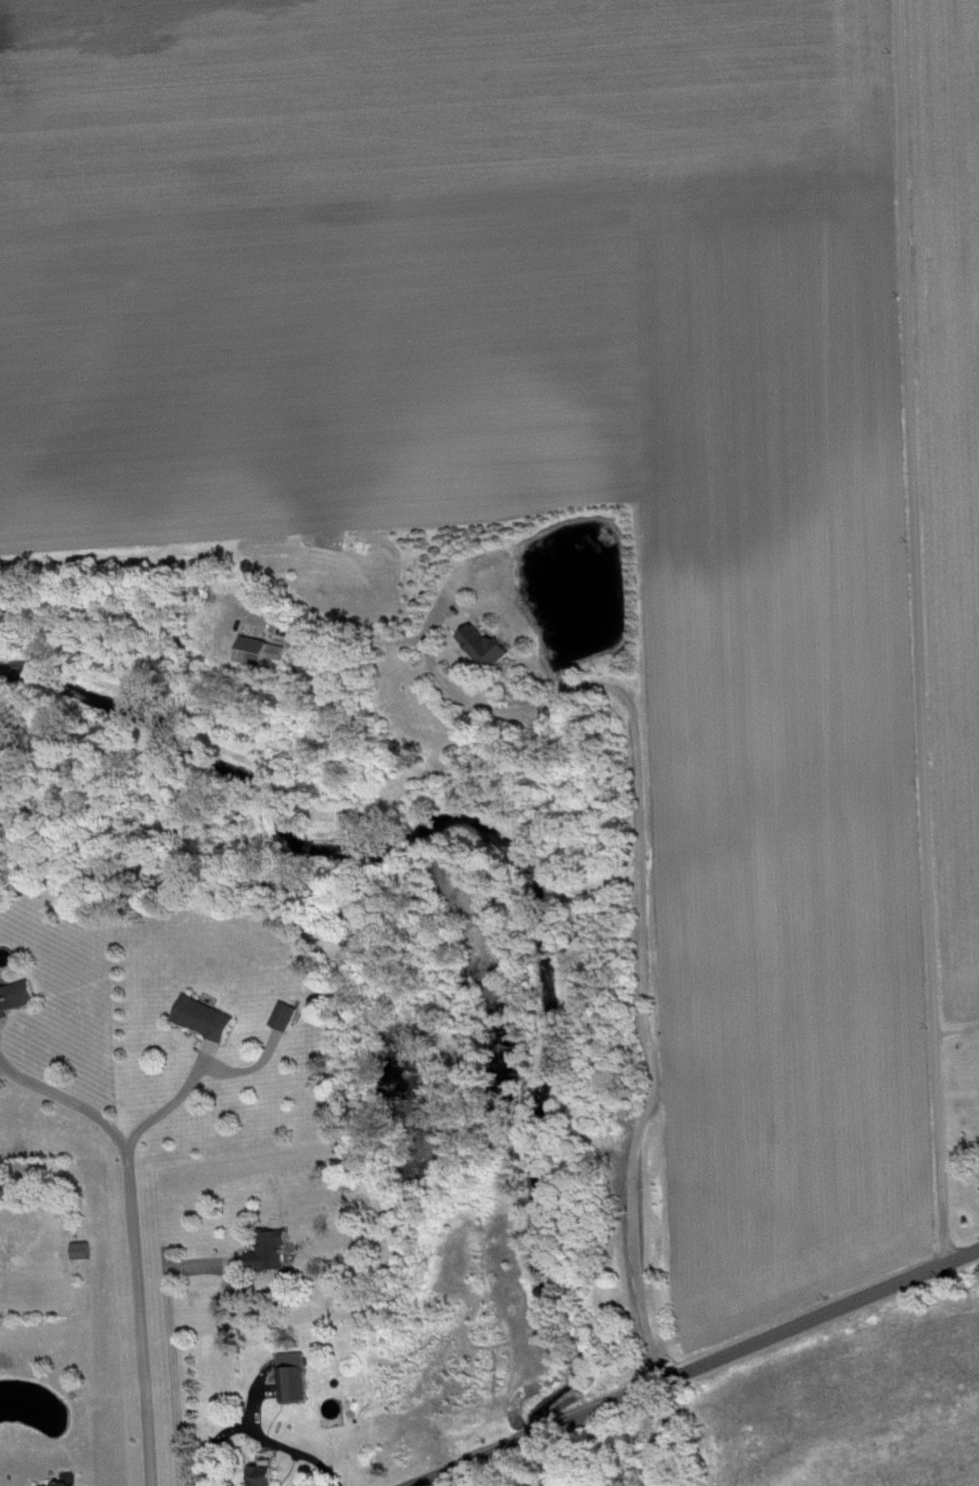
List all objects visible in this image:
road: (924, 629)
building: (491, 654)
building: (264, 658)
road: (641, 907)
building: (18, 1004)
building: (290, 1024)
building: (209, 1026)
road: (958, 1029)
road: (71, 1108)
road: (175, 1114)
building: (274, 1258)
road: (141, 1323)
road: (763, 1336)
road: (177, 1353)
building: (298, 1384)
road: (258, 1433)
road: (538, 1433)
road: (468, 1462)
building: (268, 1478)
building: (58, 1483)

